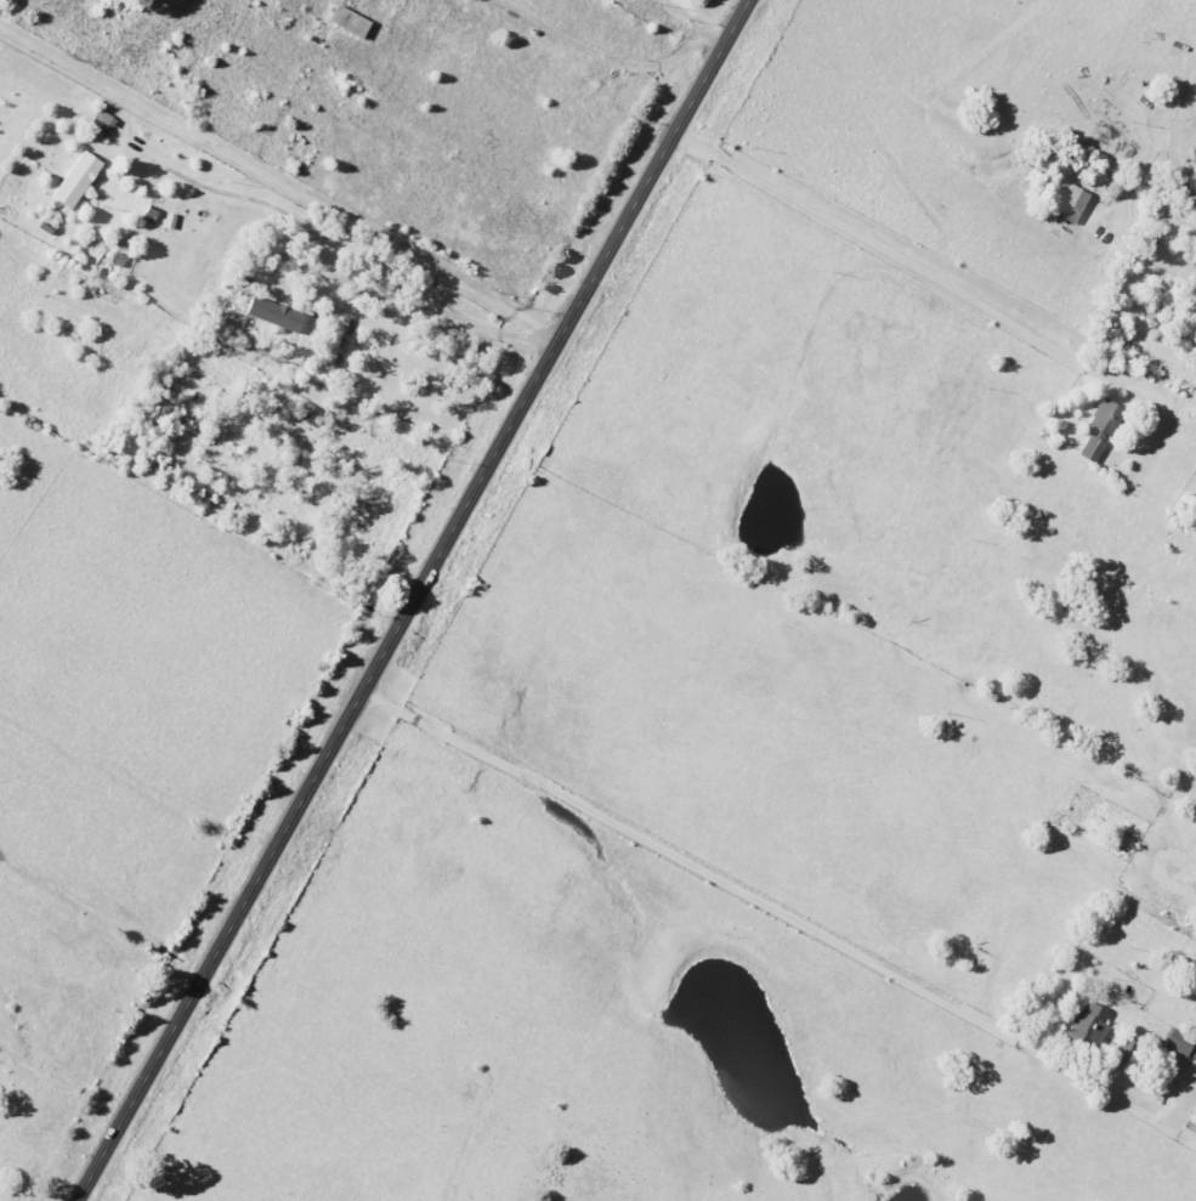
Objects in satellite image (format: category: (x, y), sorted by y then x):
road: (686, 10)
building: (346, 22)
road: (715, 26)
road: (605, 53)
road: (1157, 136)
building: (74, 179)
road: (278, 186)
building: (1070, 203)
building: (118, 259)
road: (905, 266)
building: (272, 313)
building: (327, 356)
building: (310, 414)
building: (1105, 417)
building: (1090, 448)
road: (410, 600)
road: (747, 895)
building: (1087, 1025)
building: (1179, 1043)
building: (1124, 1048)

